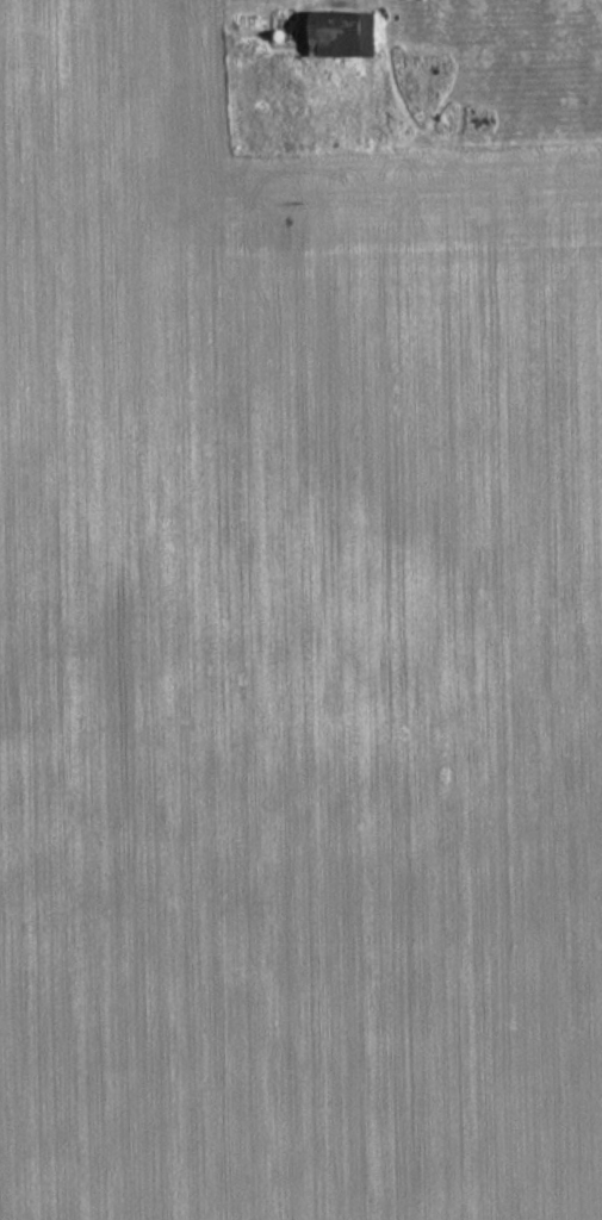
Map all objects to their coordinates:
crop: (291, 659)

